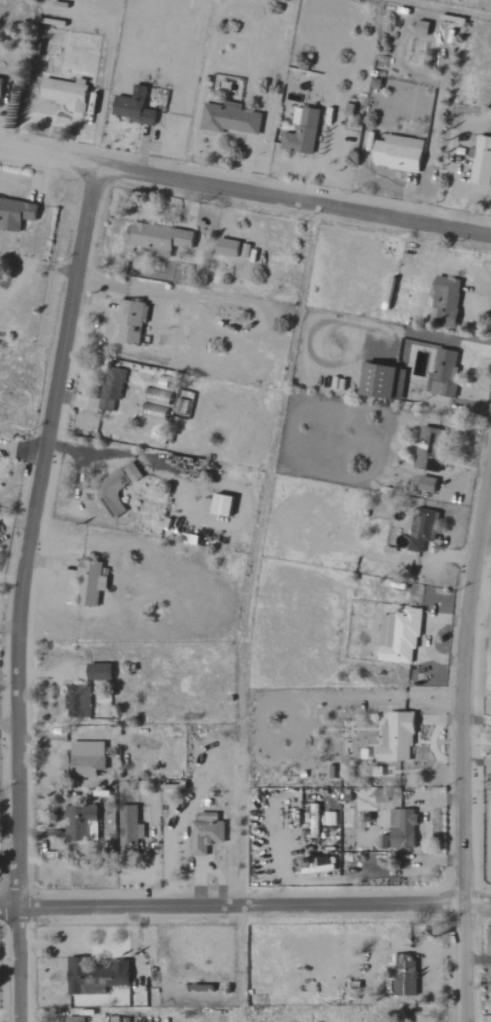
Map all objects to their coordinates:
building: (421, 27)
building: (0, 83)
building: (65, 93)
building: (133, 107)
building: (229, 118)
building: (301, 131)
building: (397, 153)
building: (482, 161)
road: (245, 189)
building: (15, 213)
building: (158, 238)
building: (226, 247)
road: (37, 264)
road: (223, 295)
building: (445, 300)
building: (130, 322)
building: (443, 373)
building: (381, 381)
building: (111, 388)
building: (154, 404)
building: (182, 407)
building: (429, 449)
building: (131, 473)
building: (426, 484)
building: (111, 493)
building: (221, 505)
building: (422, 529)
building: (89, 583)
road: (23, 588)
building: (398, 637)
building: (98, 672)
building: (77, 701)
building: (395, 739)
road: (460, 755)
building: (86, 758)
building: (380, 795)
building: (313, 815)
building: (329, 819)
building: (78, 822)
building: (401, 828)
building: (129, 831)
building: (205, 836)
building: (383, 842)
road: (245, 903)
building: (403, 973)
building: (94, 976)
building: (199, 988)
building: (73, 1019)

